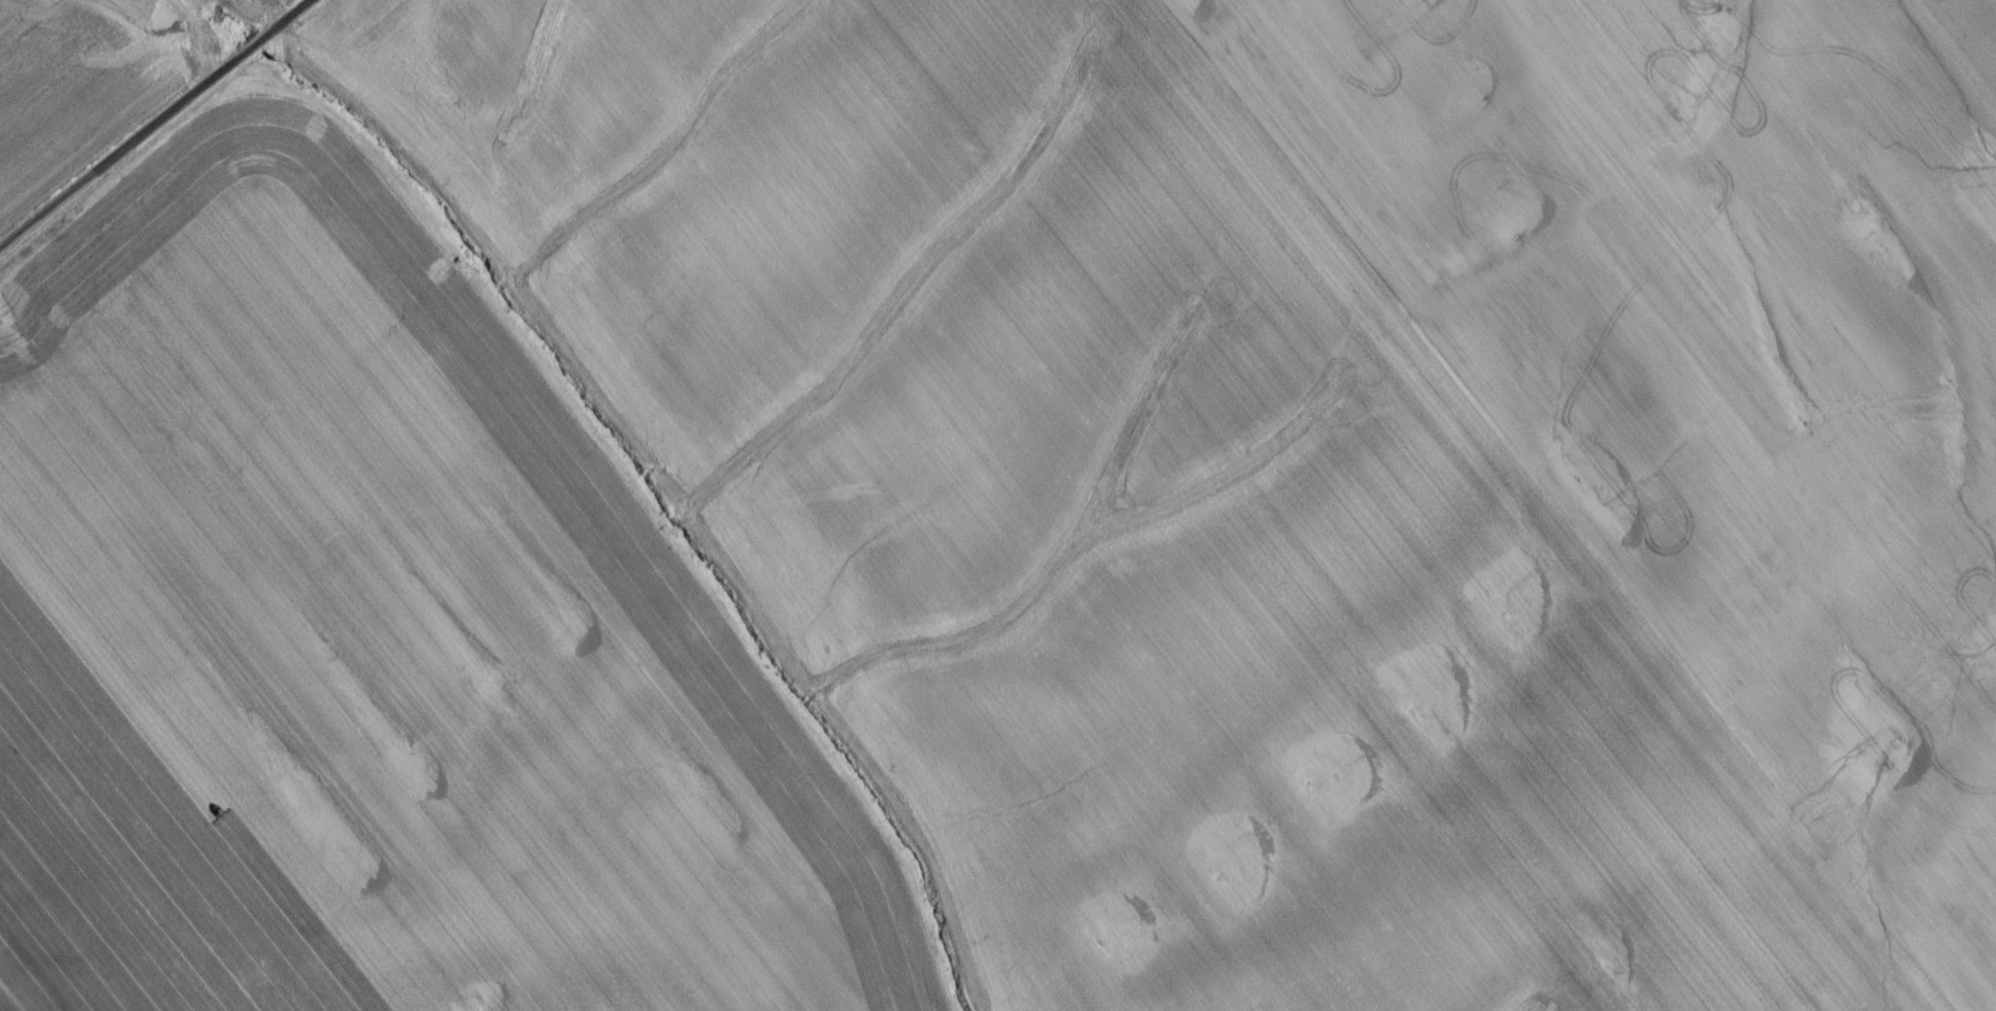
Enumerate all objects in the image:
road: (156, 127)

